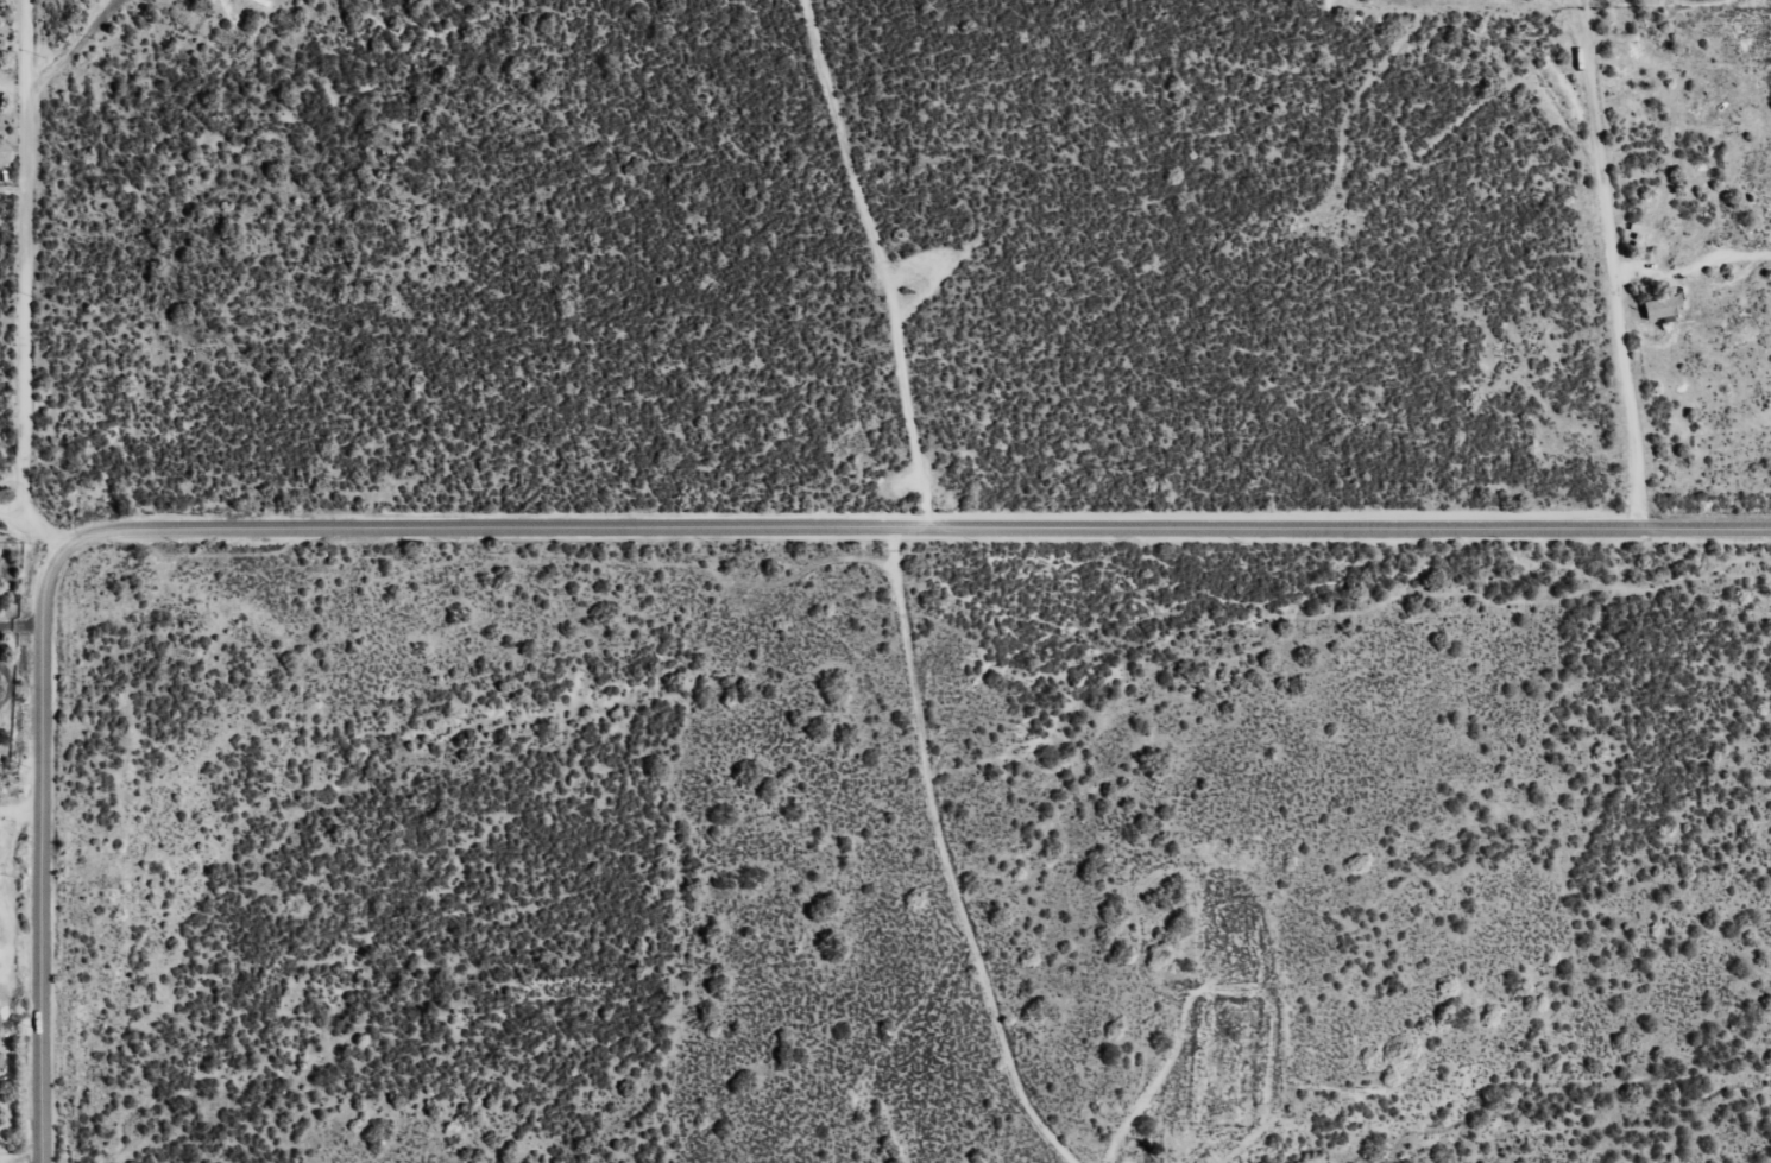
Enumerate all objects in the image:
road: (25, 254)
building: (1658, 308)
road: (14, 510)
road: (49, 531)
road: (609, 533)

